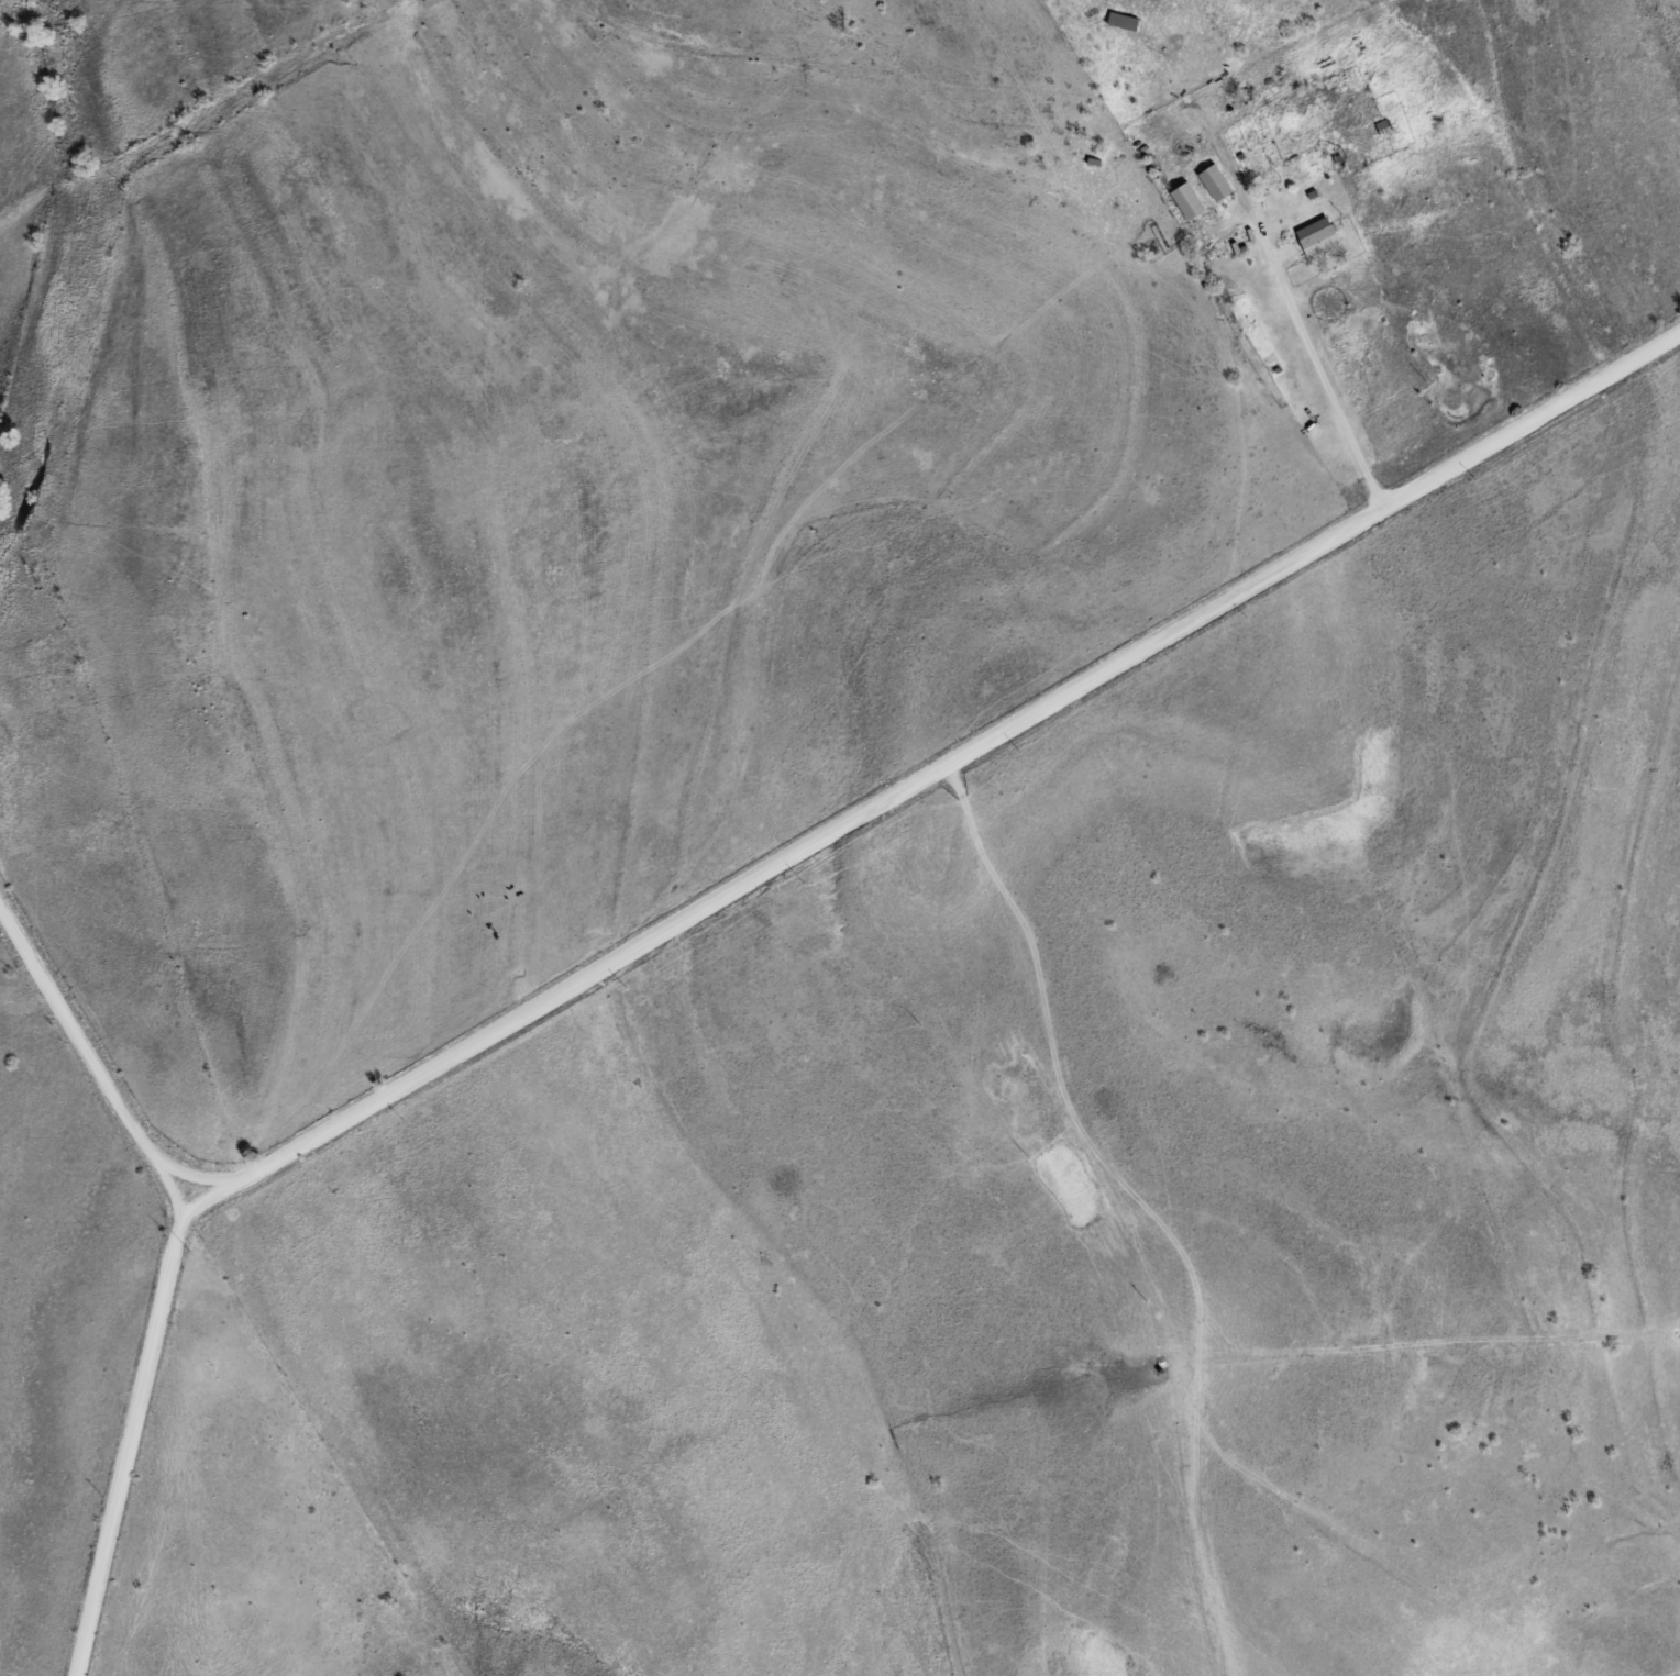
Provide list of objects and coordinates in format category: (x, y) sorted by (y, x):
building: (1124, 24)
building: (1385, 130)
building: (1216, 185)
building: (1187, 203)
building: (1317, 240)
road: (928, 779)
road: (88, 1072)
road: (125, 1449)

